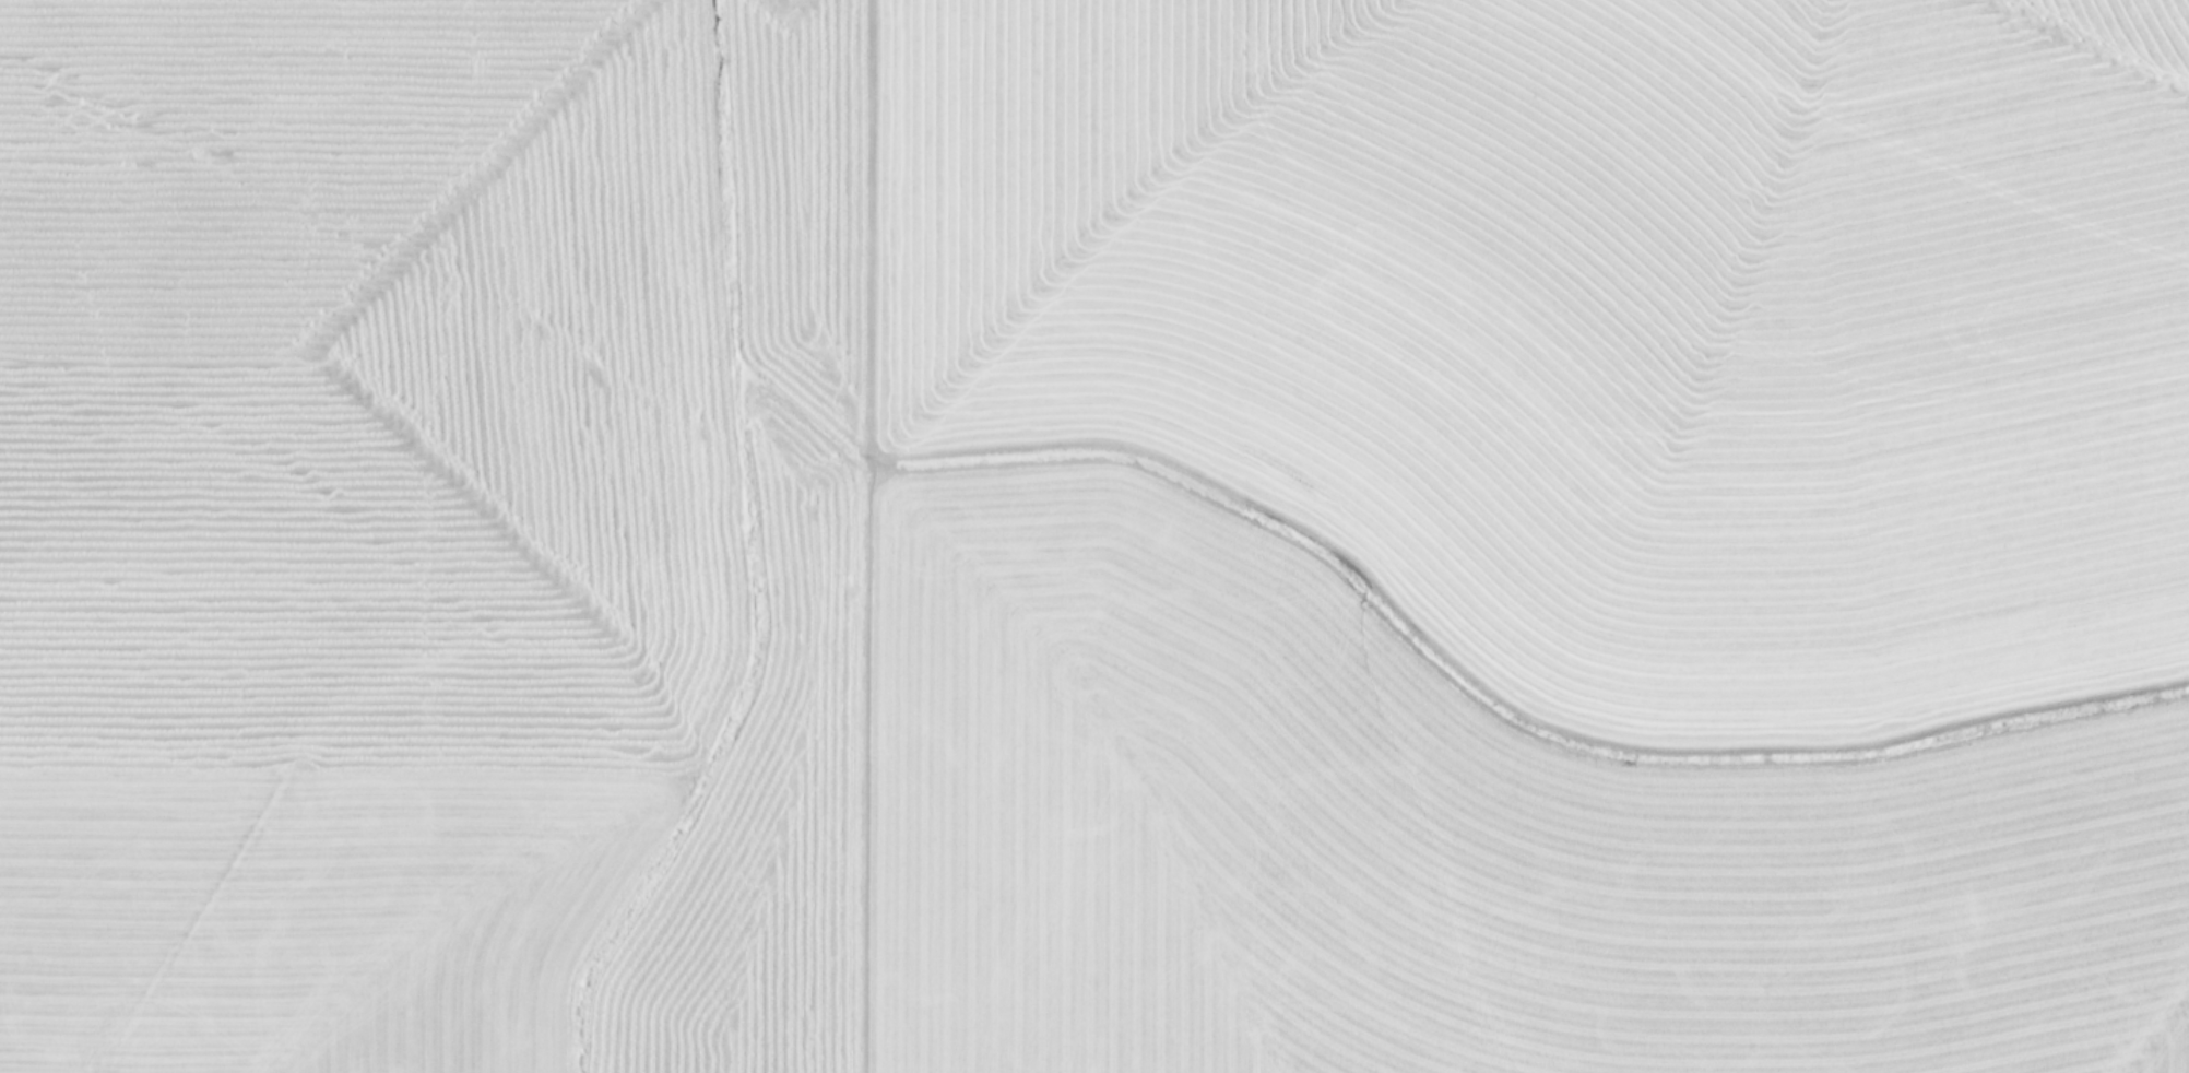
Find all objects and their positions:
crop: (1094, 536)

